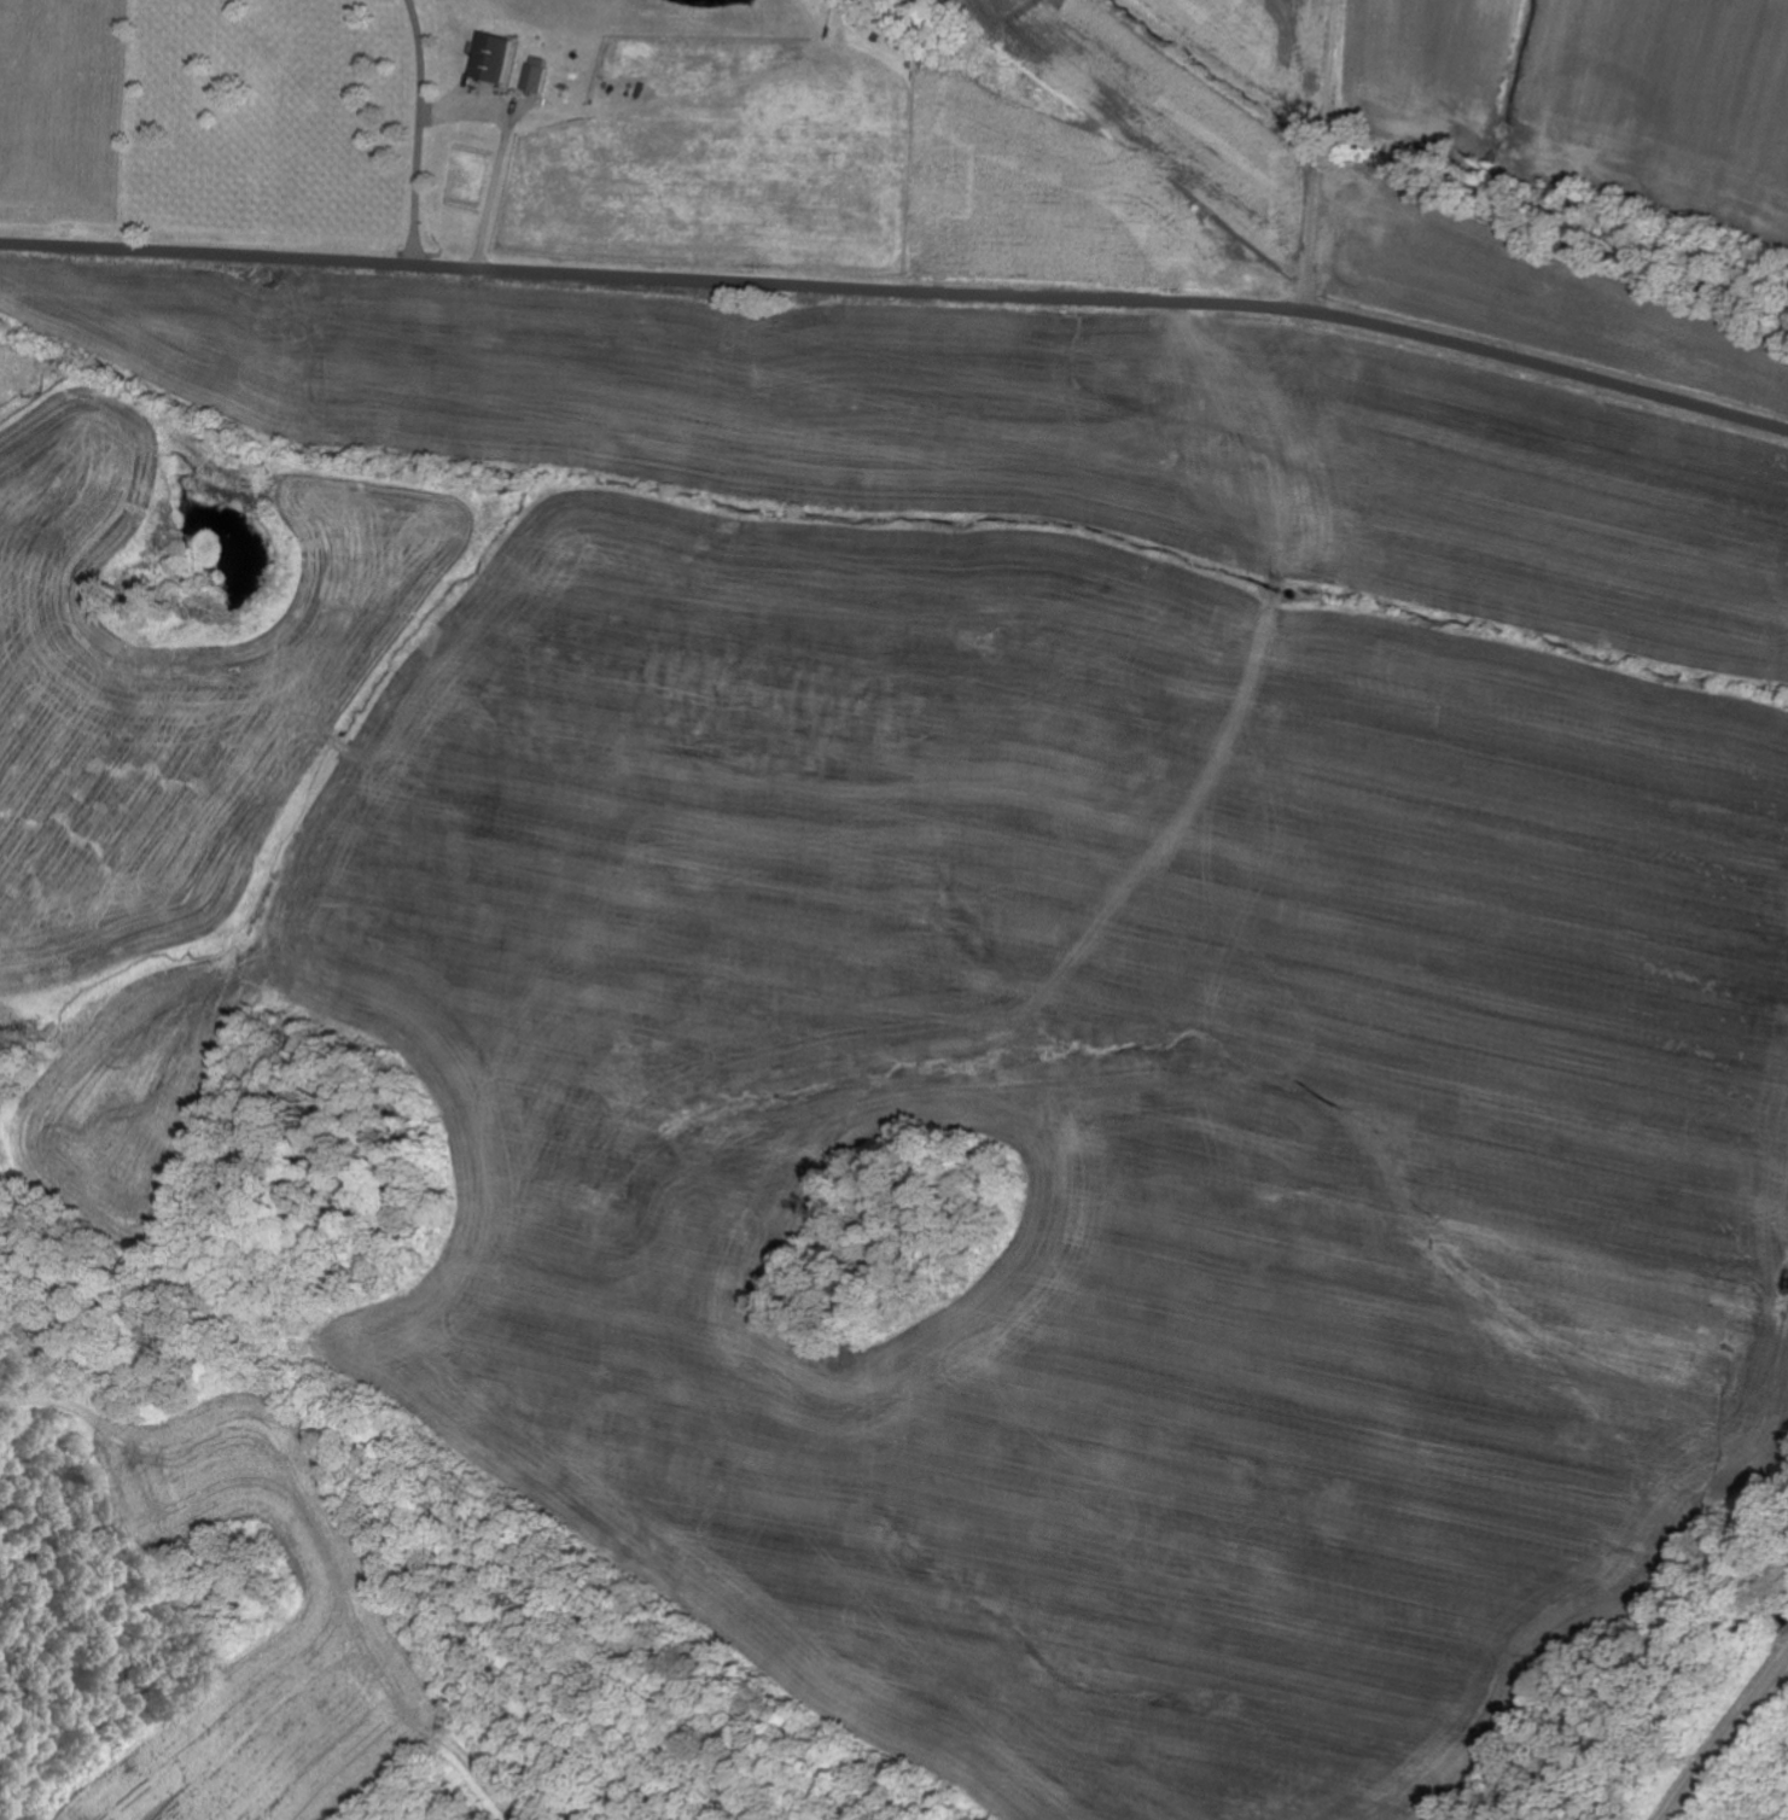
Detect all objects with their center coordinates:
building: (495, 59)
building: (537, 75)
road: (418, 133)
road: (507, 147)
road: (901, 291)
road: (1729, 1742)

